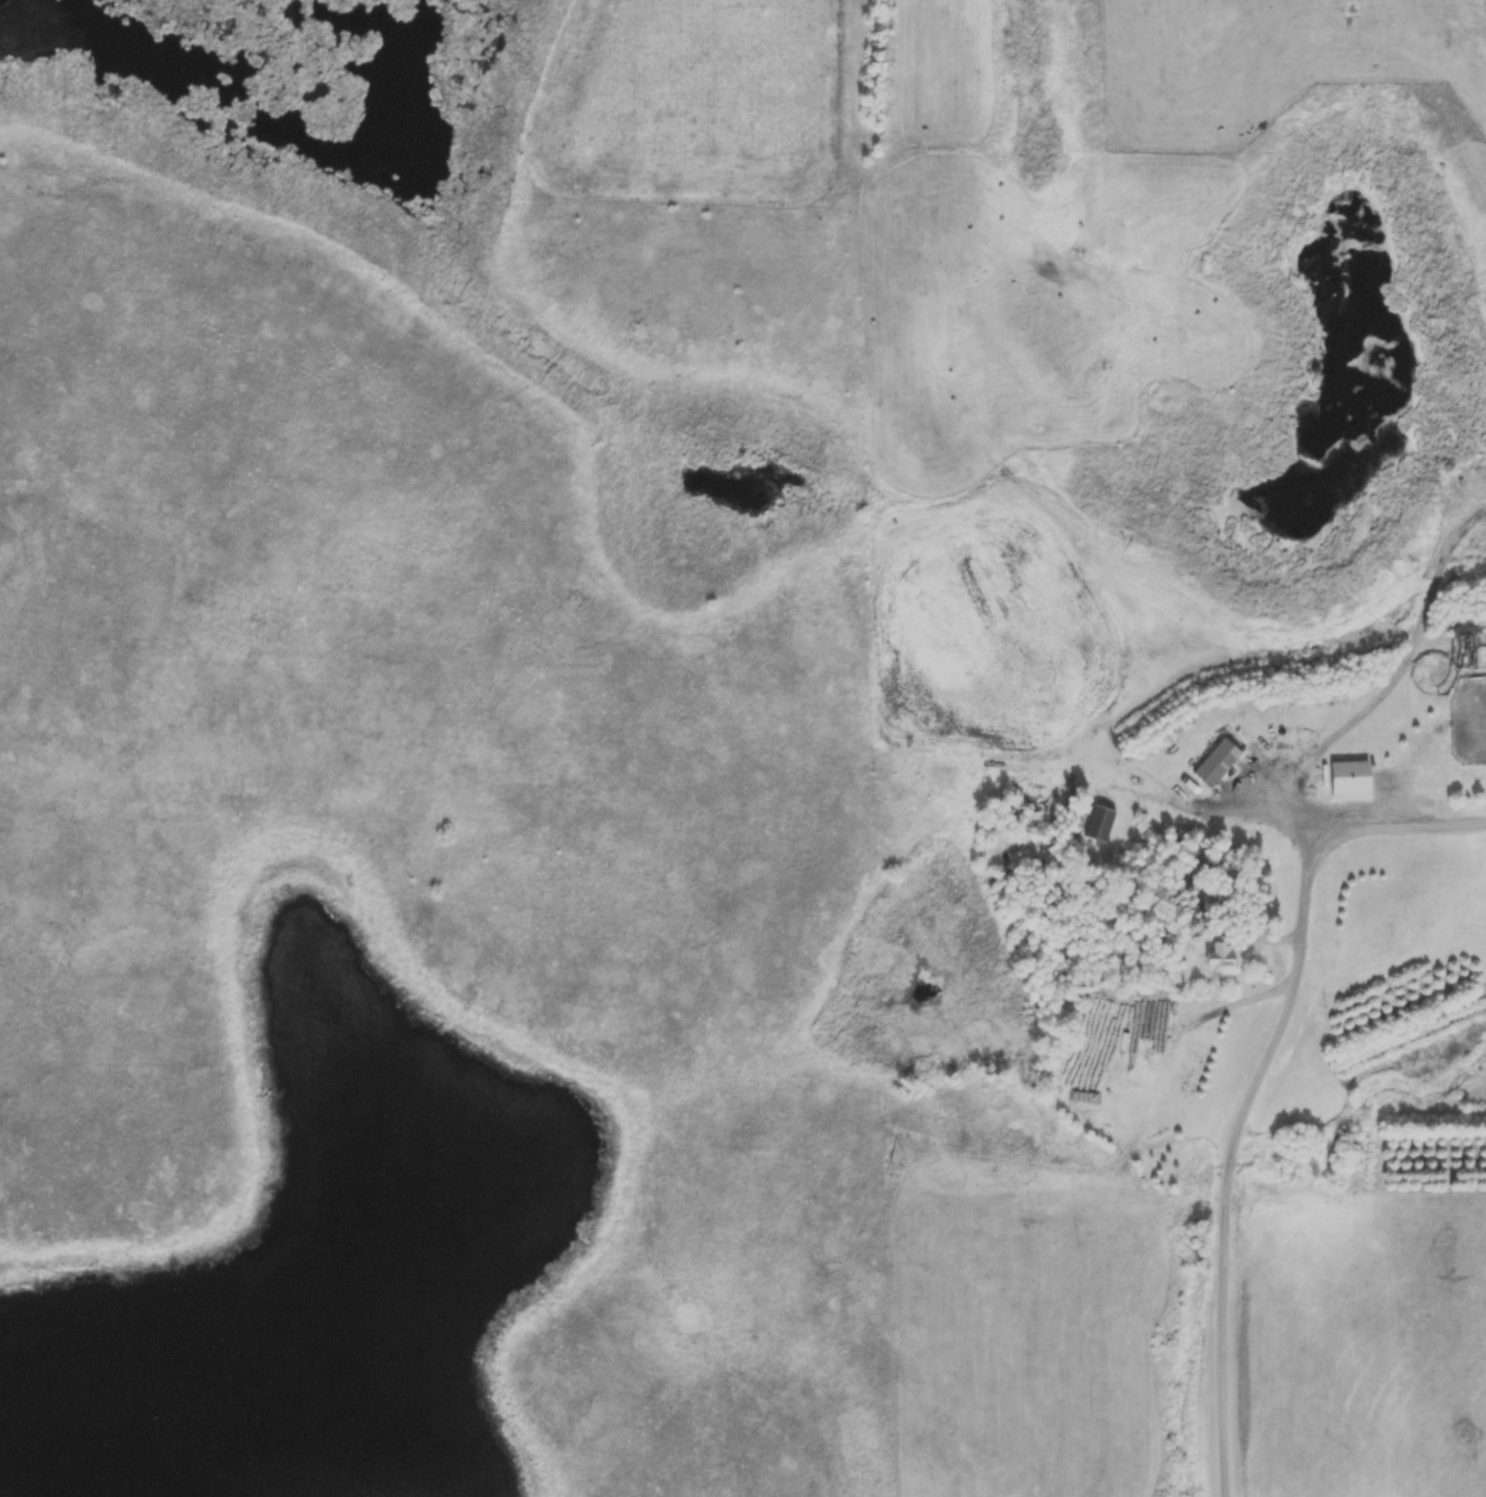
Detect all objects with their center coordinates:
river: (1031, 62)
building: (1223, 755)
building: (1353, 773)
building: (1105, 816)
building: (1223, 953)
road: (1262, 1079)
river: (56, 1406)

